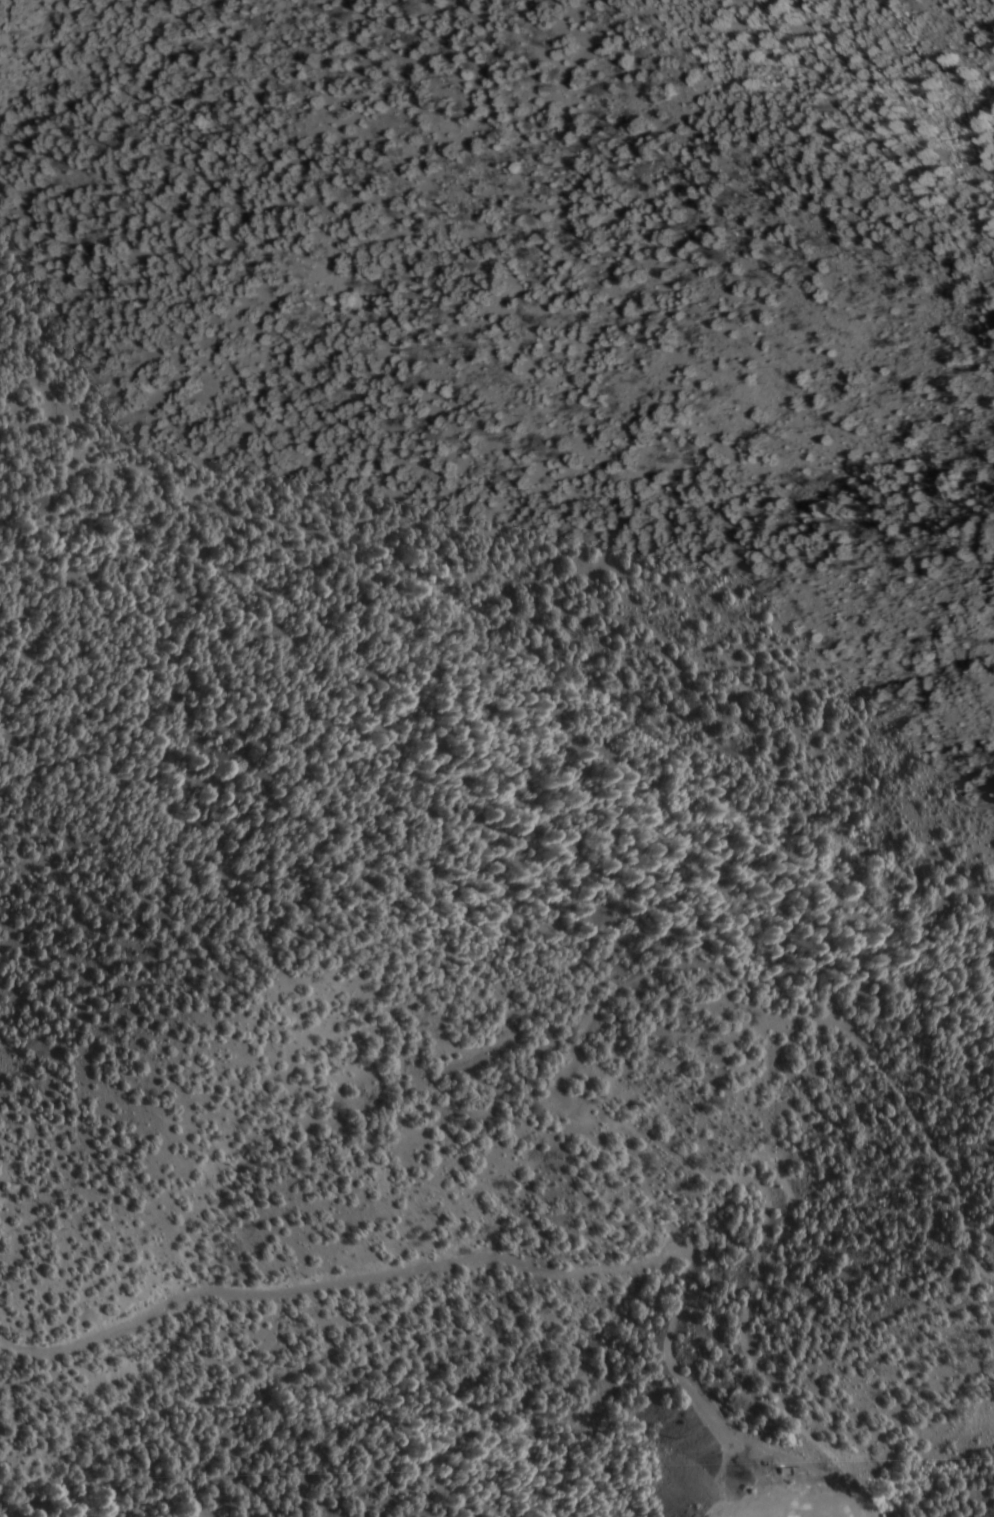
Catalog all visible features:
road: (686, 1464)

